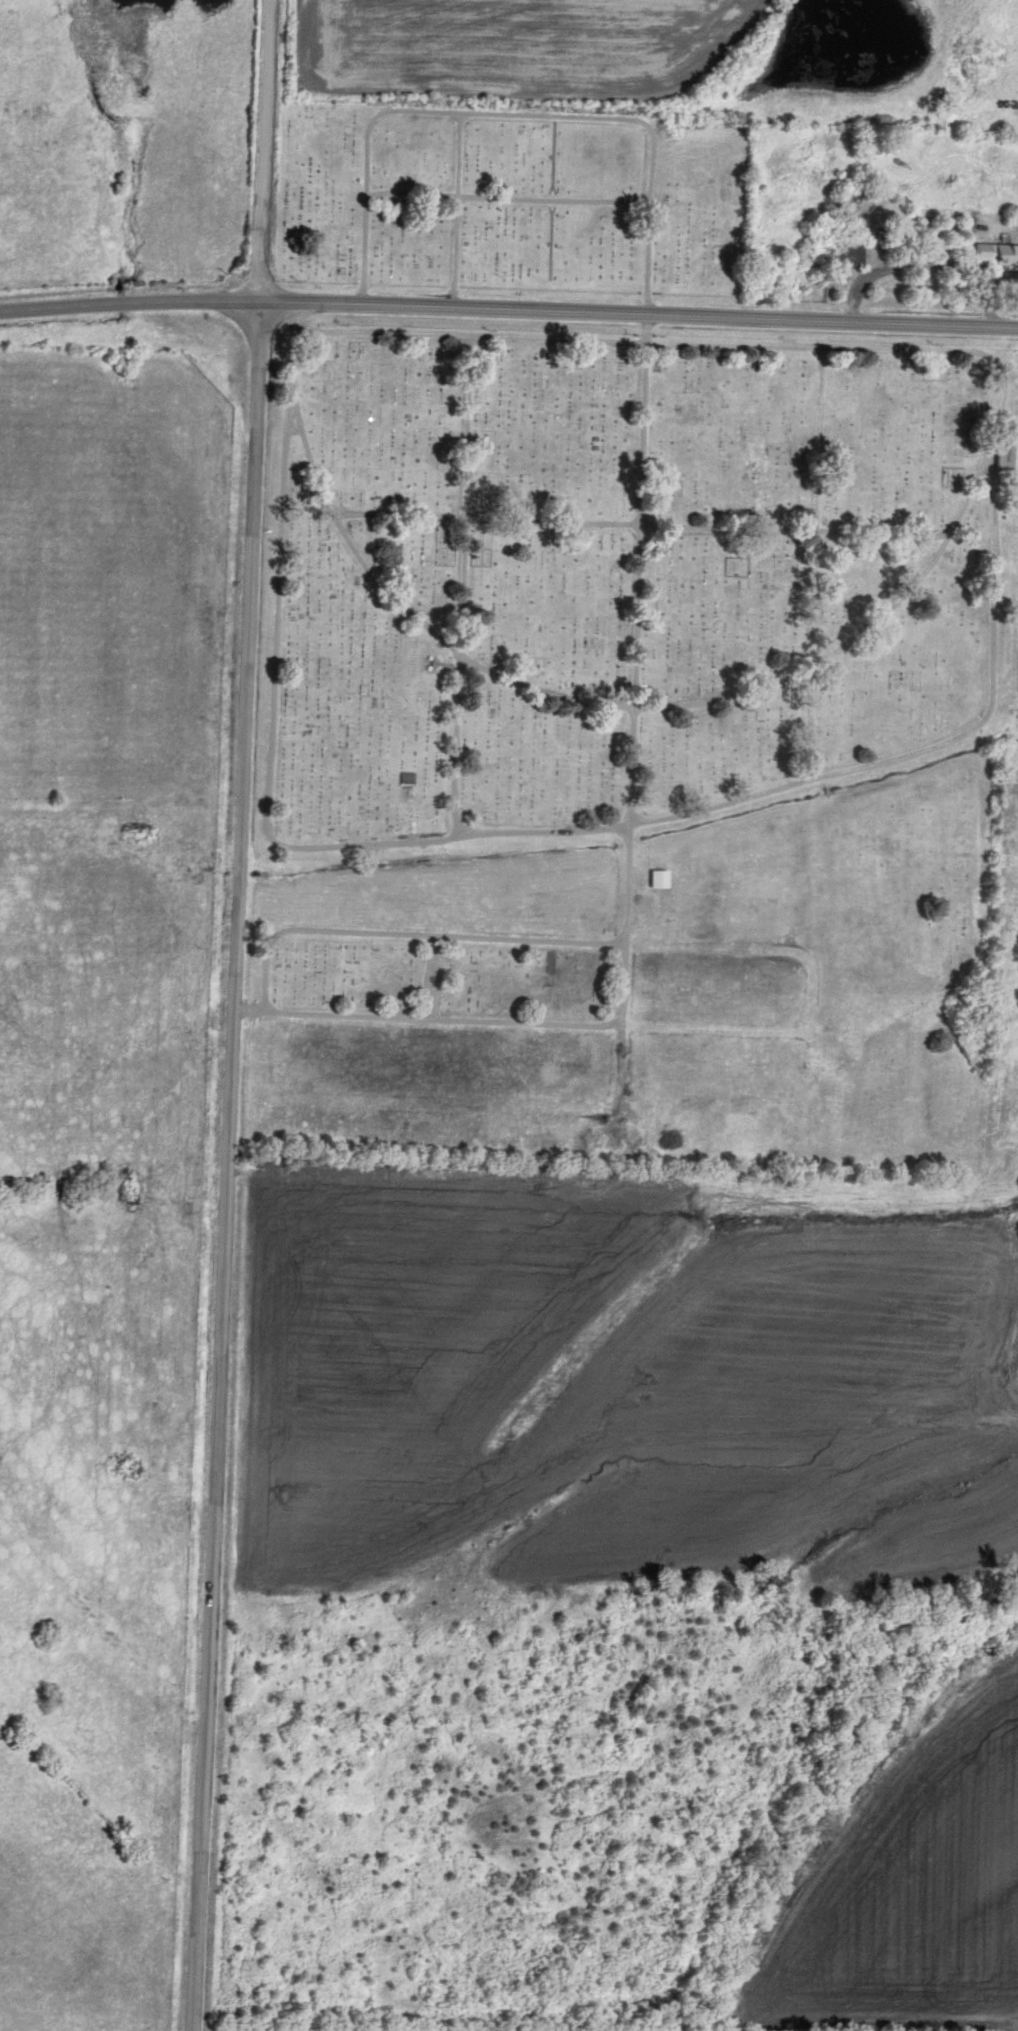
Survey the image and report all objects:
road: (268, 151)
building: (845, 206)
building: (848, 253)
building: (995, 257)
road: (905, 268)
road: (508, 310)
building: (1003, 459)
road: (642, 568)
road: (932, 568)
park: (612, 676)
road: (551, 830)
building: (658, 880)
road: (230, 1167)

